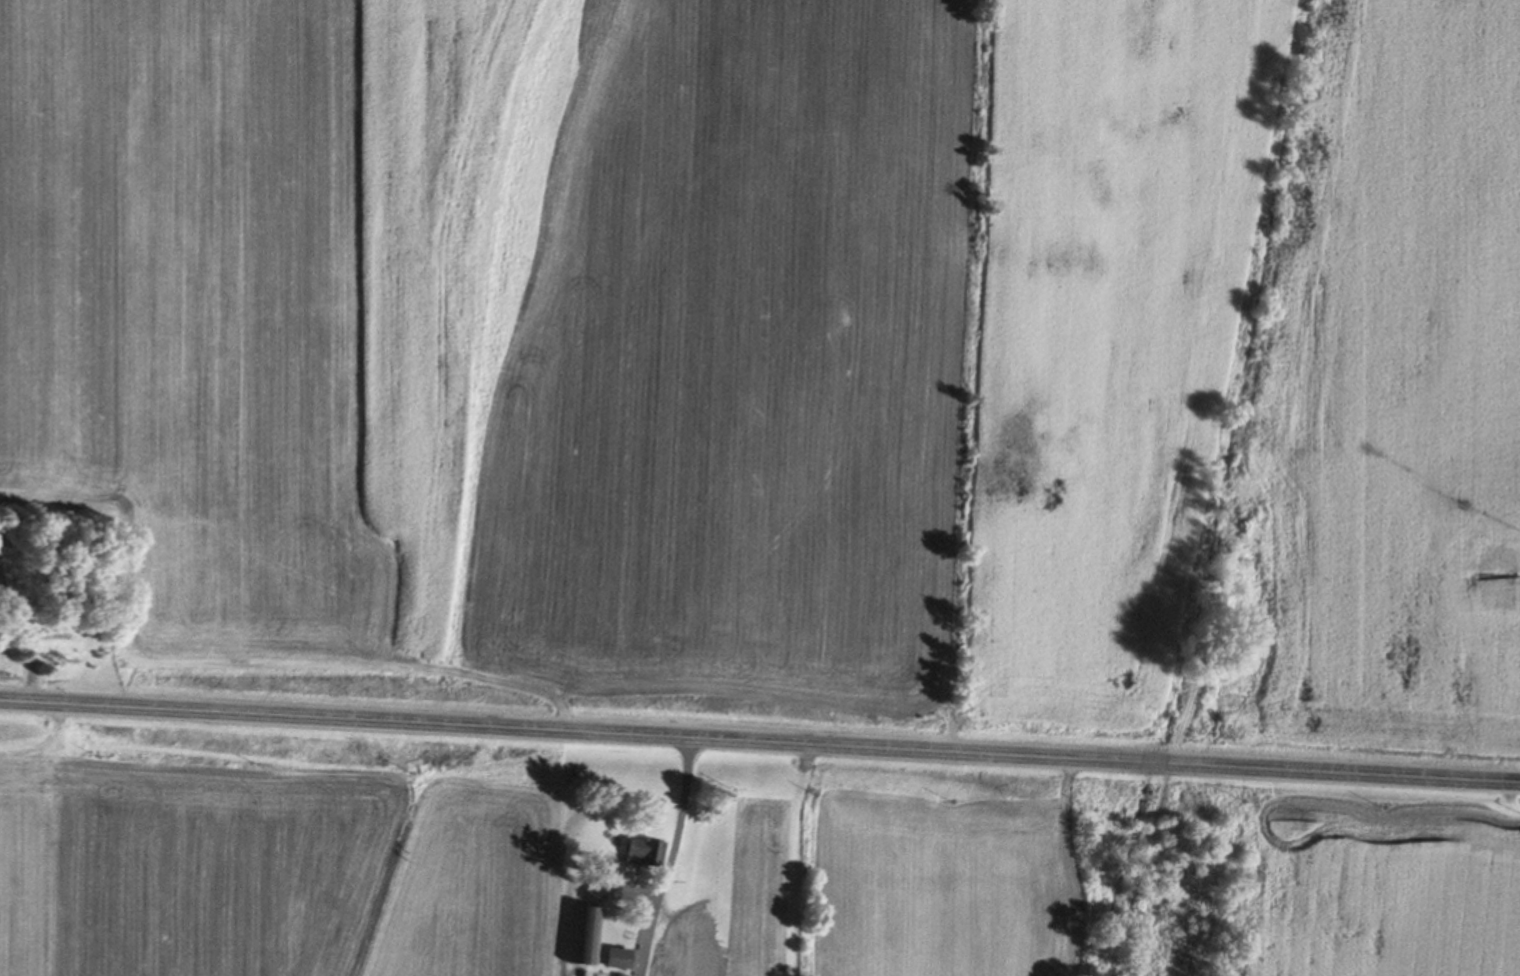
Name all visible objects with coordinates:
road: (21, 644)
road: (759, 741)
building: (634, 850)
road: (670, 857)
building: (581, 936)
building: (612, 959)
building: (677, 970)

